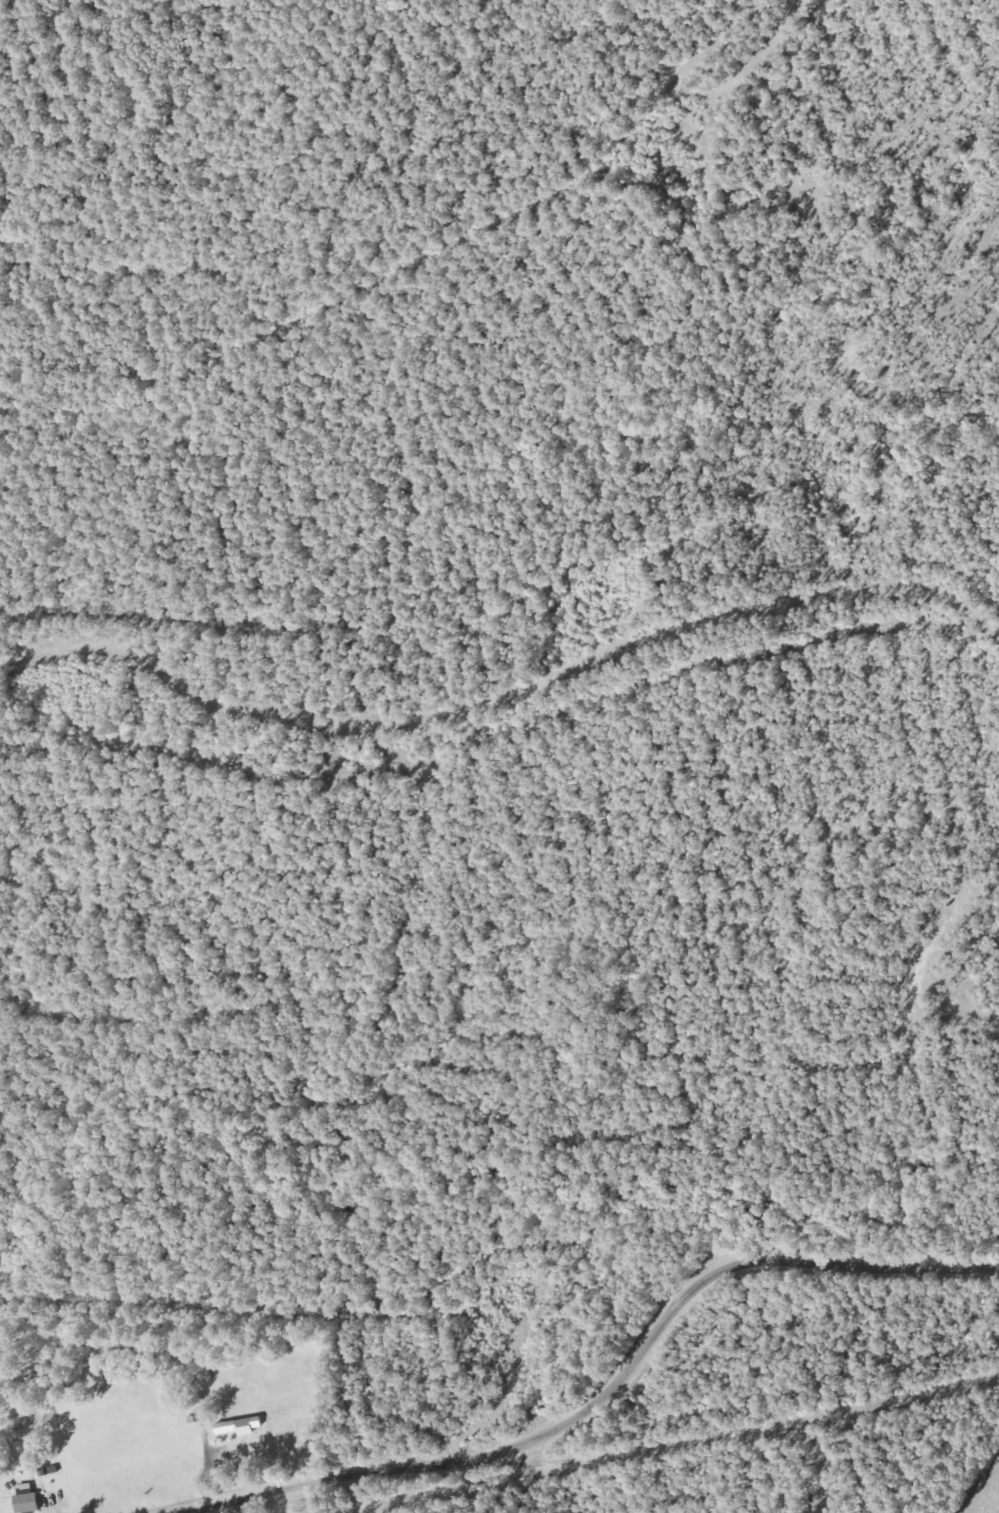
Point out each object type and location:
road: (624, 1344)
building: (239, 1426)
building: (24, 1500)

